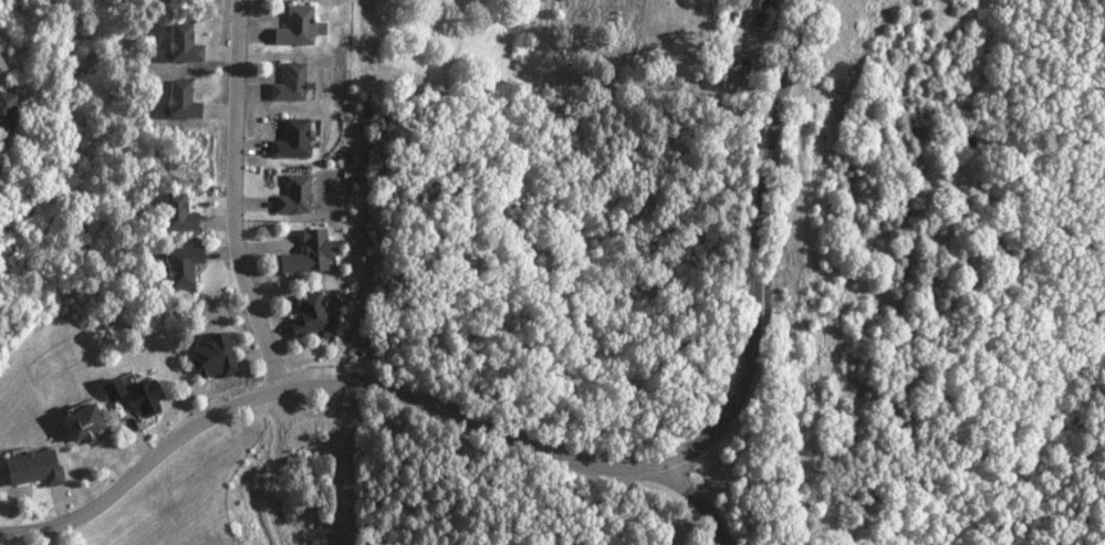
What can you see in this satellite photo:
building: (753, 2)
building: (292, 27)
building: (178, 43)
building: (0, 69)
building: (285, 83)
building: (176, 99)
building: (2, 107)
building: (289, 138)
building: (292, 195)
road: (232, 200)
building: (175, 213)
building: (305, 253)
building: (178, 265)
building: (306, 314)
building: (209, 357)
building: (131, 395)
building: (79, 425)
road: (560, 458)
building: (30, 468)
road: (687, 489)

